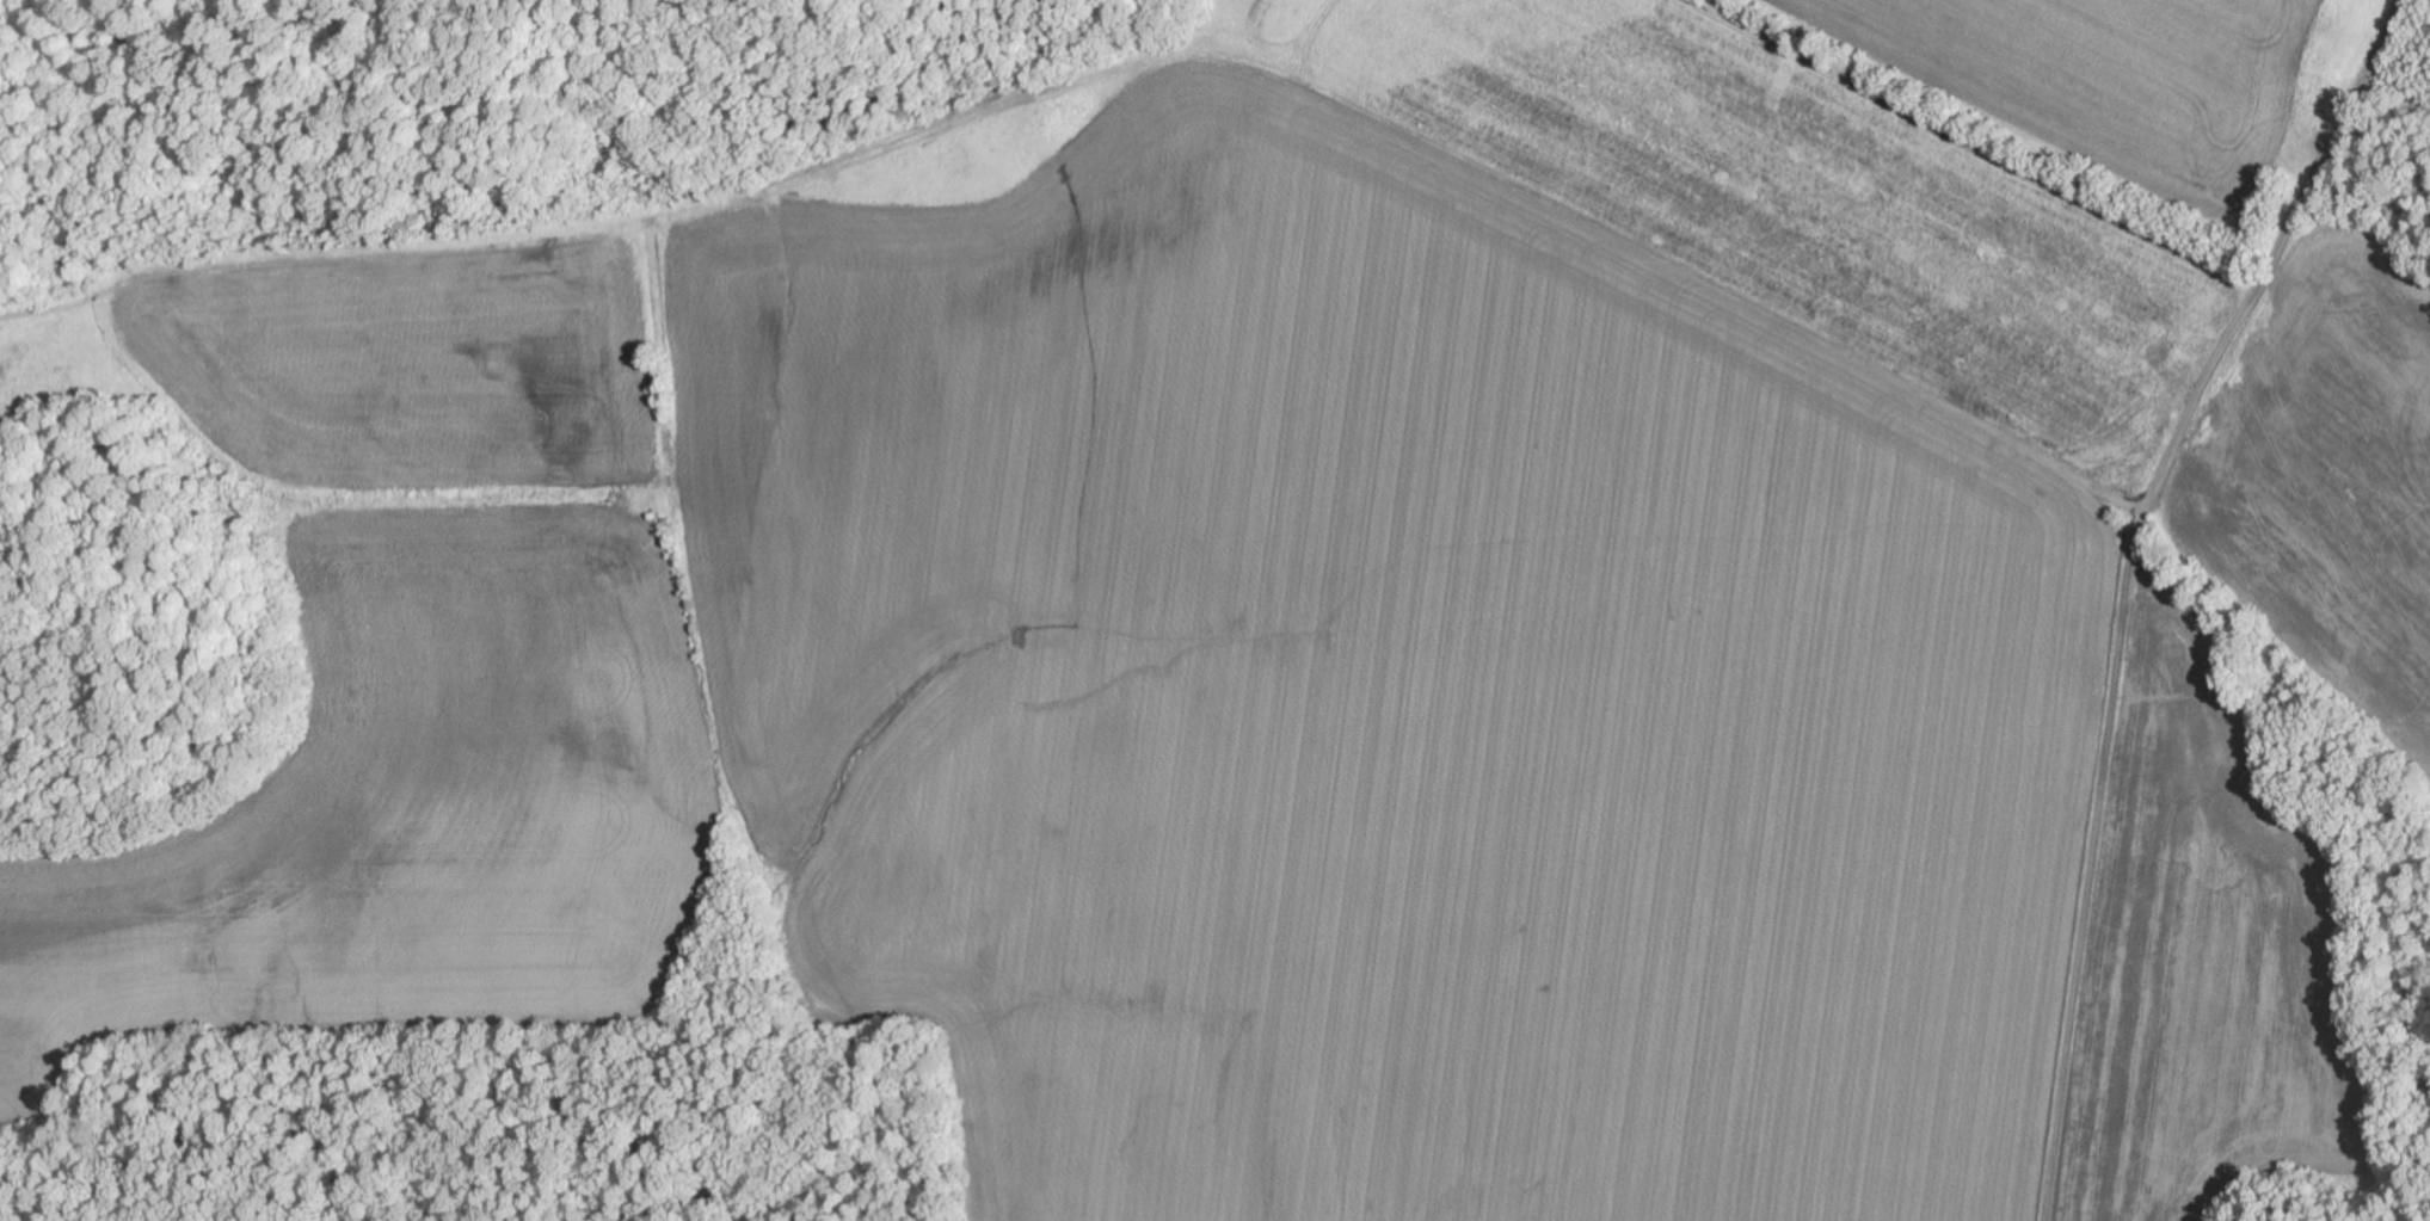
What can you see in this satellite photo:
road: (2129, 581)

